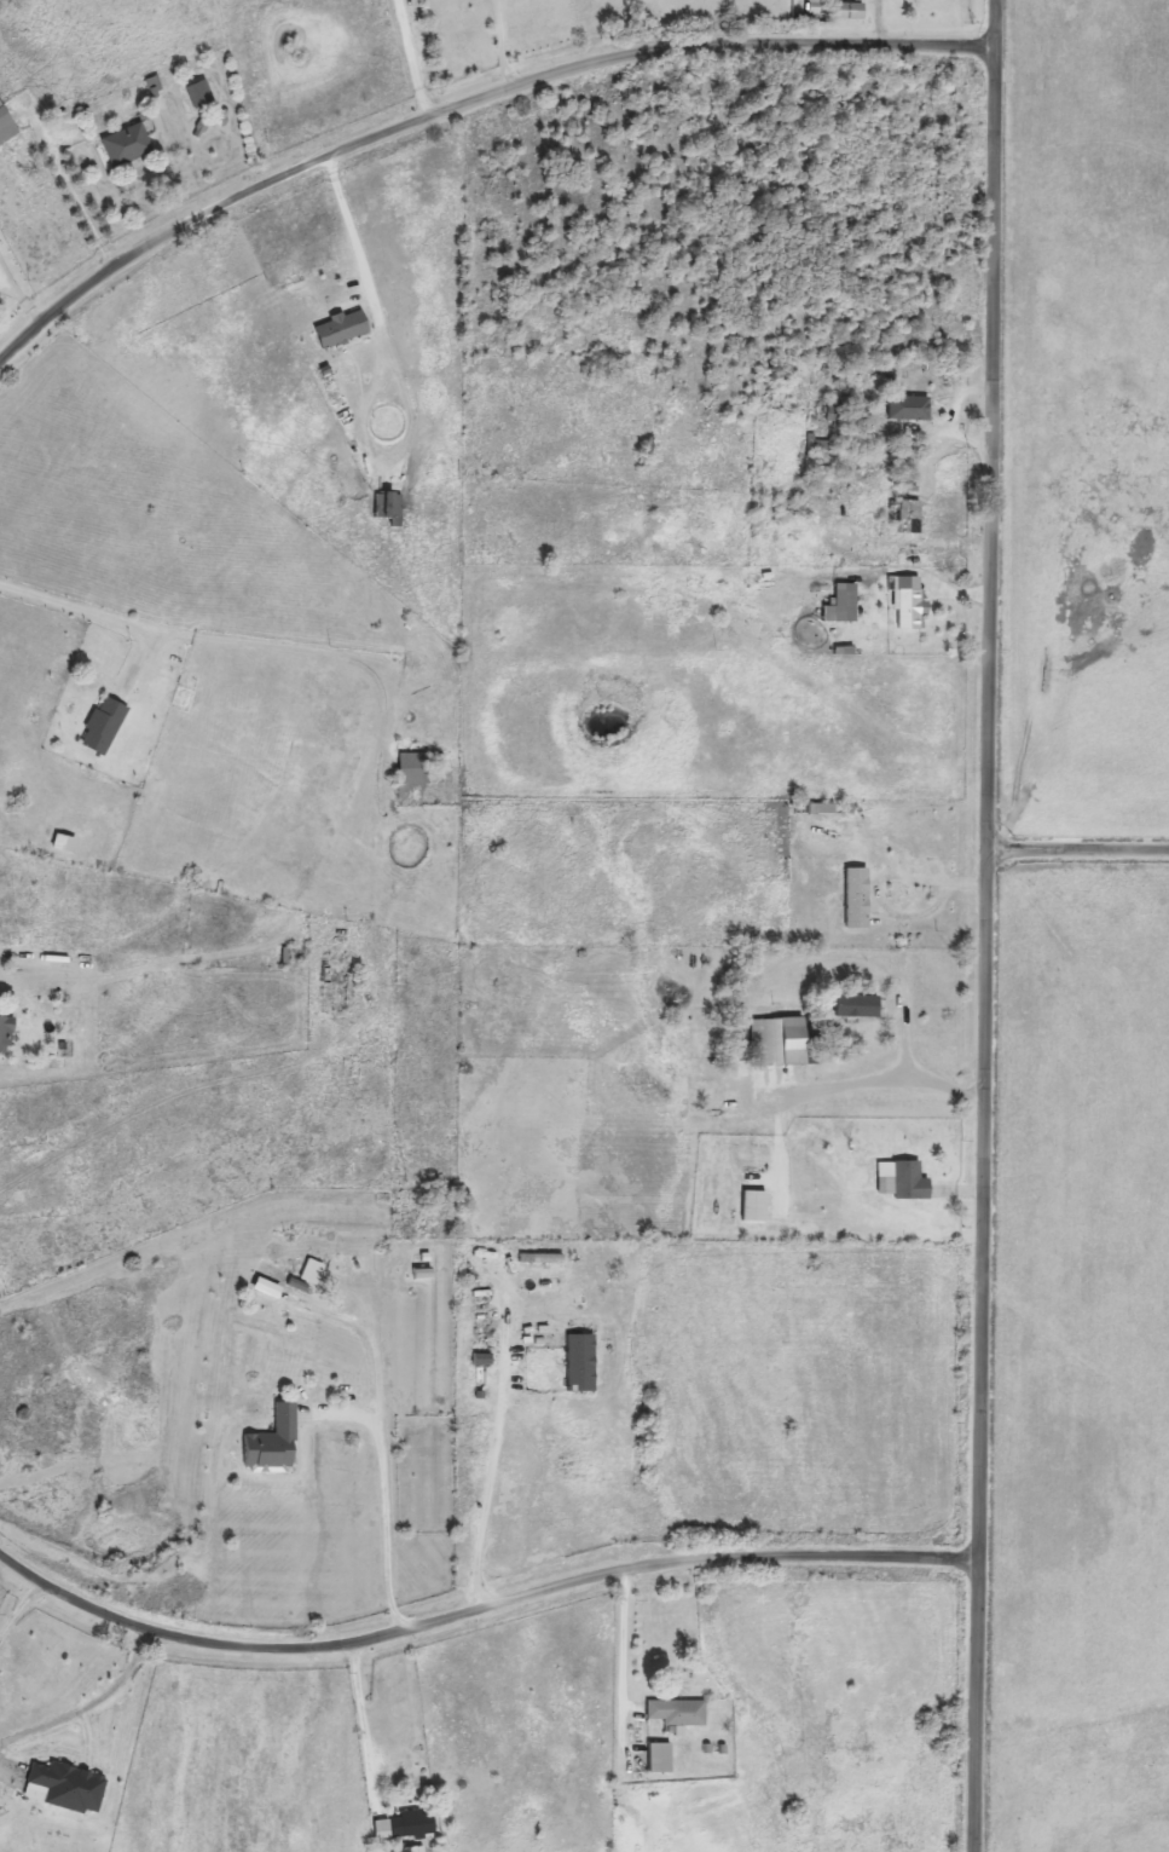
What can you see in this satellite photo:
building: (850, 11)
road: (504, 45)
road: (411, 59)
building: (199, 94)
road: (467, 104)
building: (6, 125)
building: (127, 145)
road: (348, 221)
building: (343, 328)
building: (909, 408)
building: (818, 444)
building: (389, 504)
building: (909, 517)
building: (844, 602)
building: (909, 602)
road: (248, 642)
building: (105, 723)
building: (412, 767)
building: (827, 808)
road: (1078, 848)
building: (909, 878)
road: (936, 907)
road: (985, 925)
building: (336, 977)
building: (6, 1032)
building: (780, 1040)
road: (881, 1083)
building: (907, 1181)
building: (756, 1205)
building: (543, 1258)
building: (291, 1280)
road: (493, 1484)
road: (389, 1523)
road: (19, 1603)
road: (479, 1611)
road: (627, 1634)
road: (88, 1703)
building: (677, 1712)
road: (368, 1724)
building: (661, 1756)
building: (70, 1785)
building: (405, 1824)
building: (412, 1850)

